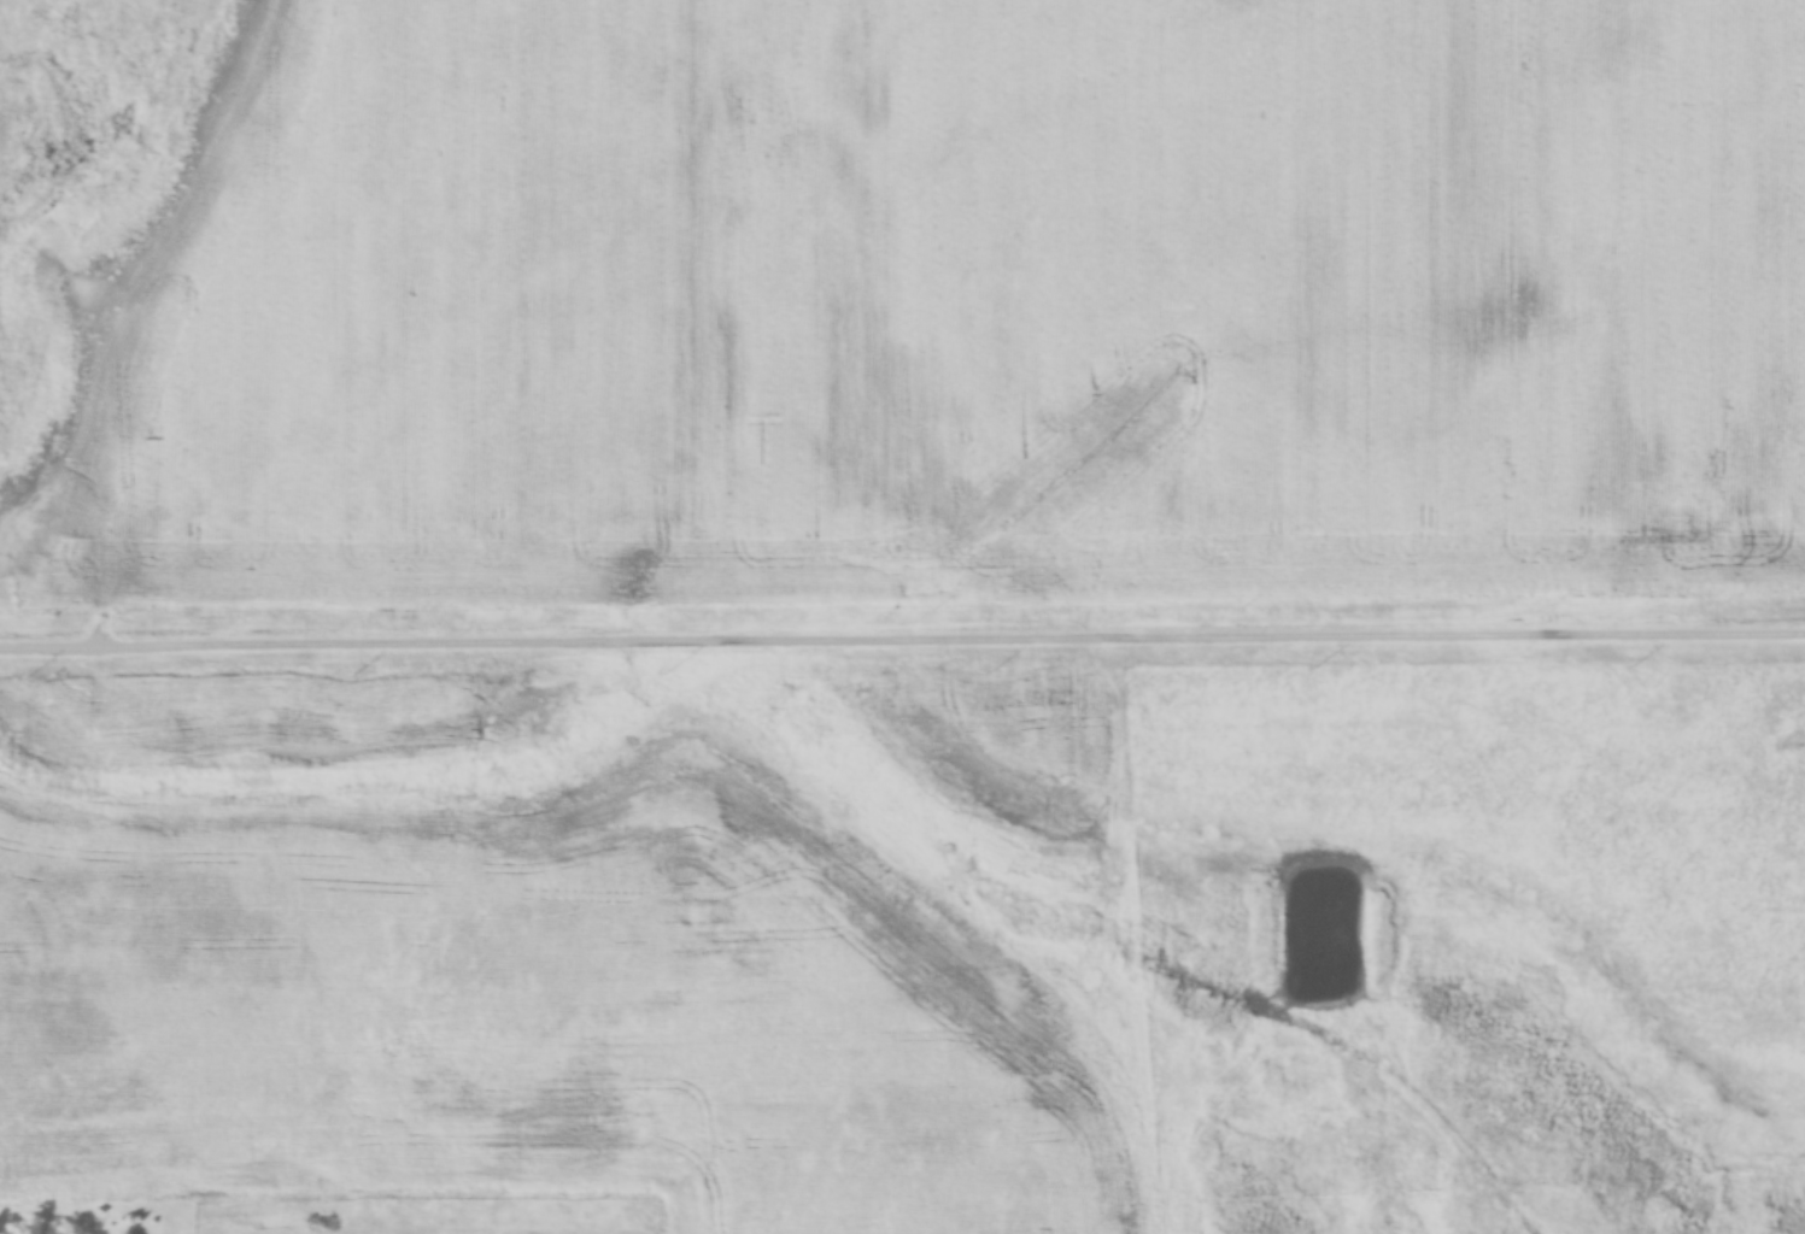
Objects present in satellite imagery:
road: (902, 642)

